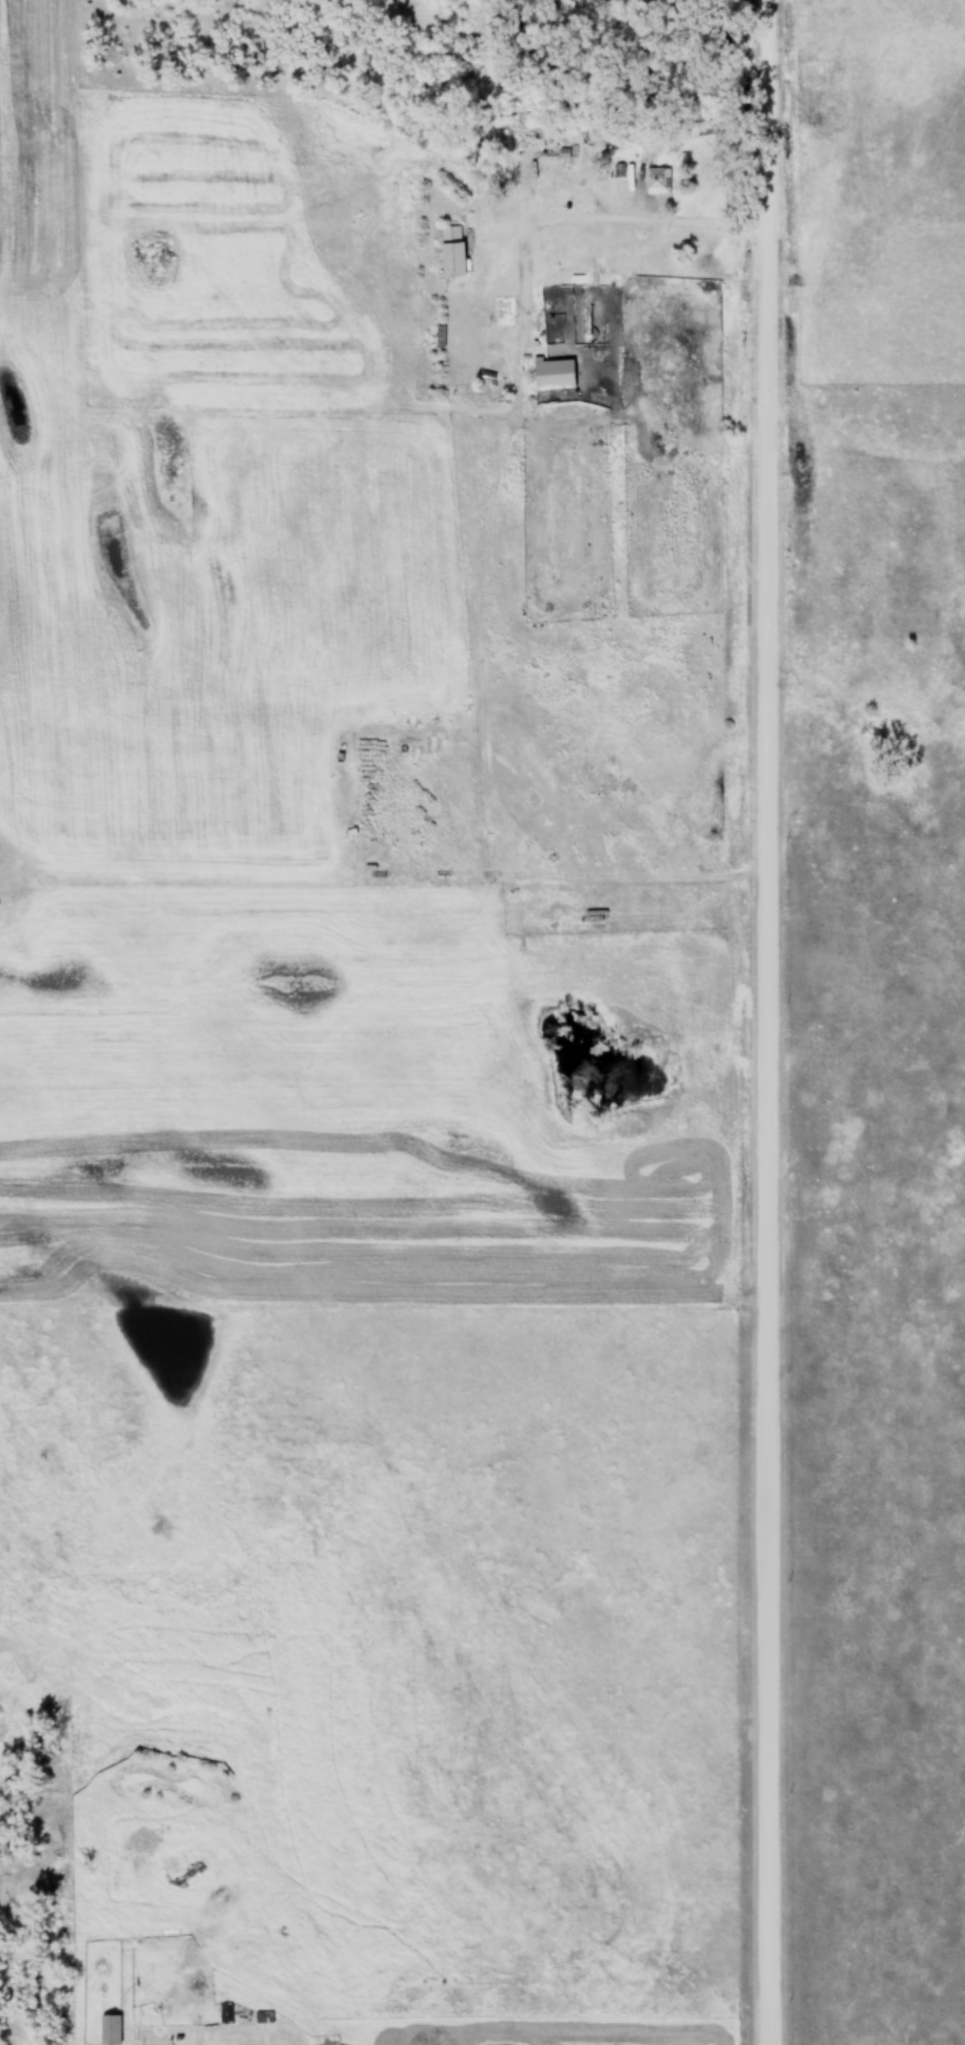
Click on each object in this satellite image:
building: (563, 151)
building: (659, 179)
road: (594, 218)
building: (454, 251)
building: (555, 374)
road: (763, 1022)
building: (265, 2018)
building: (111, 2030)

